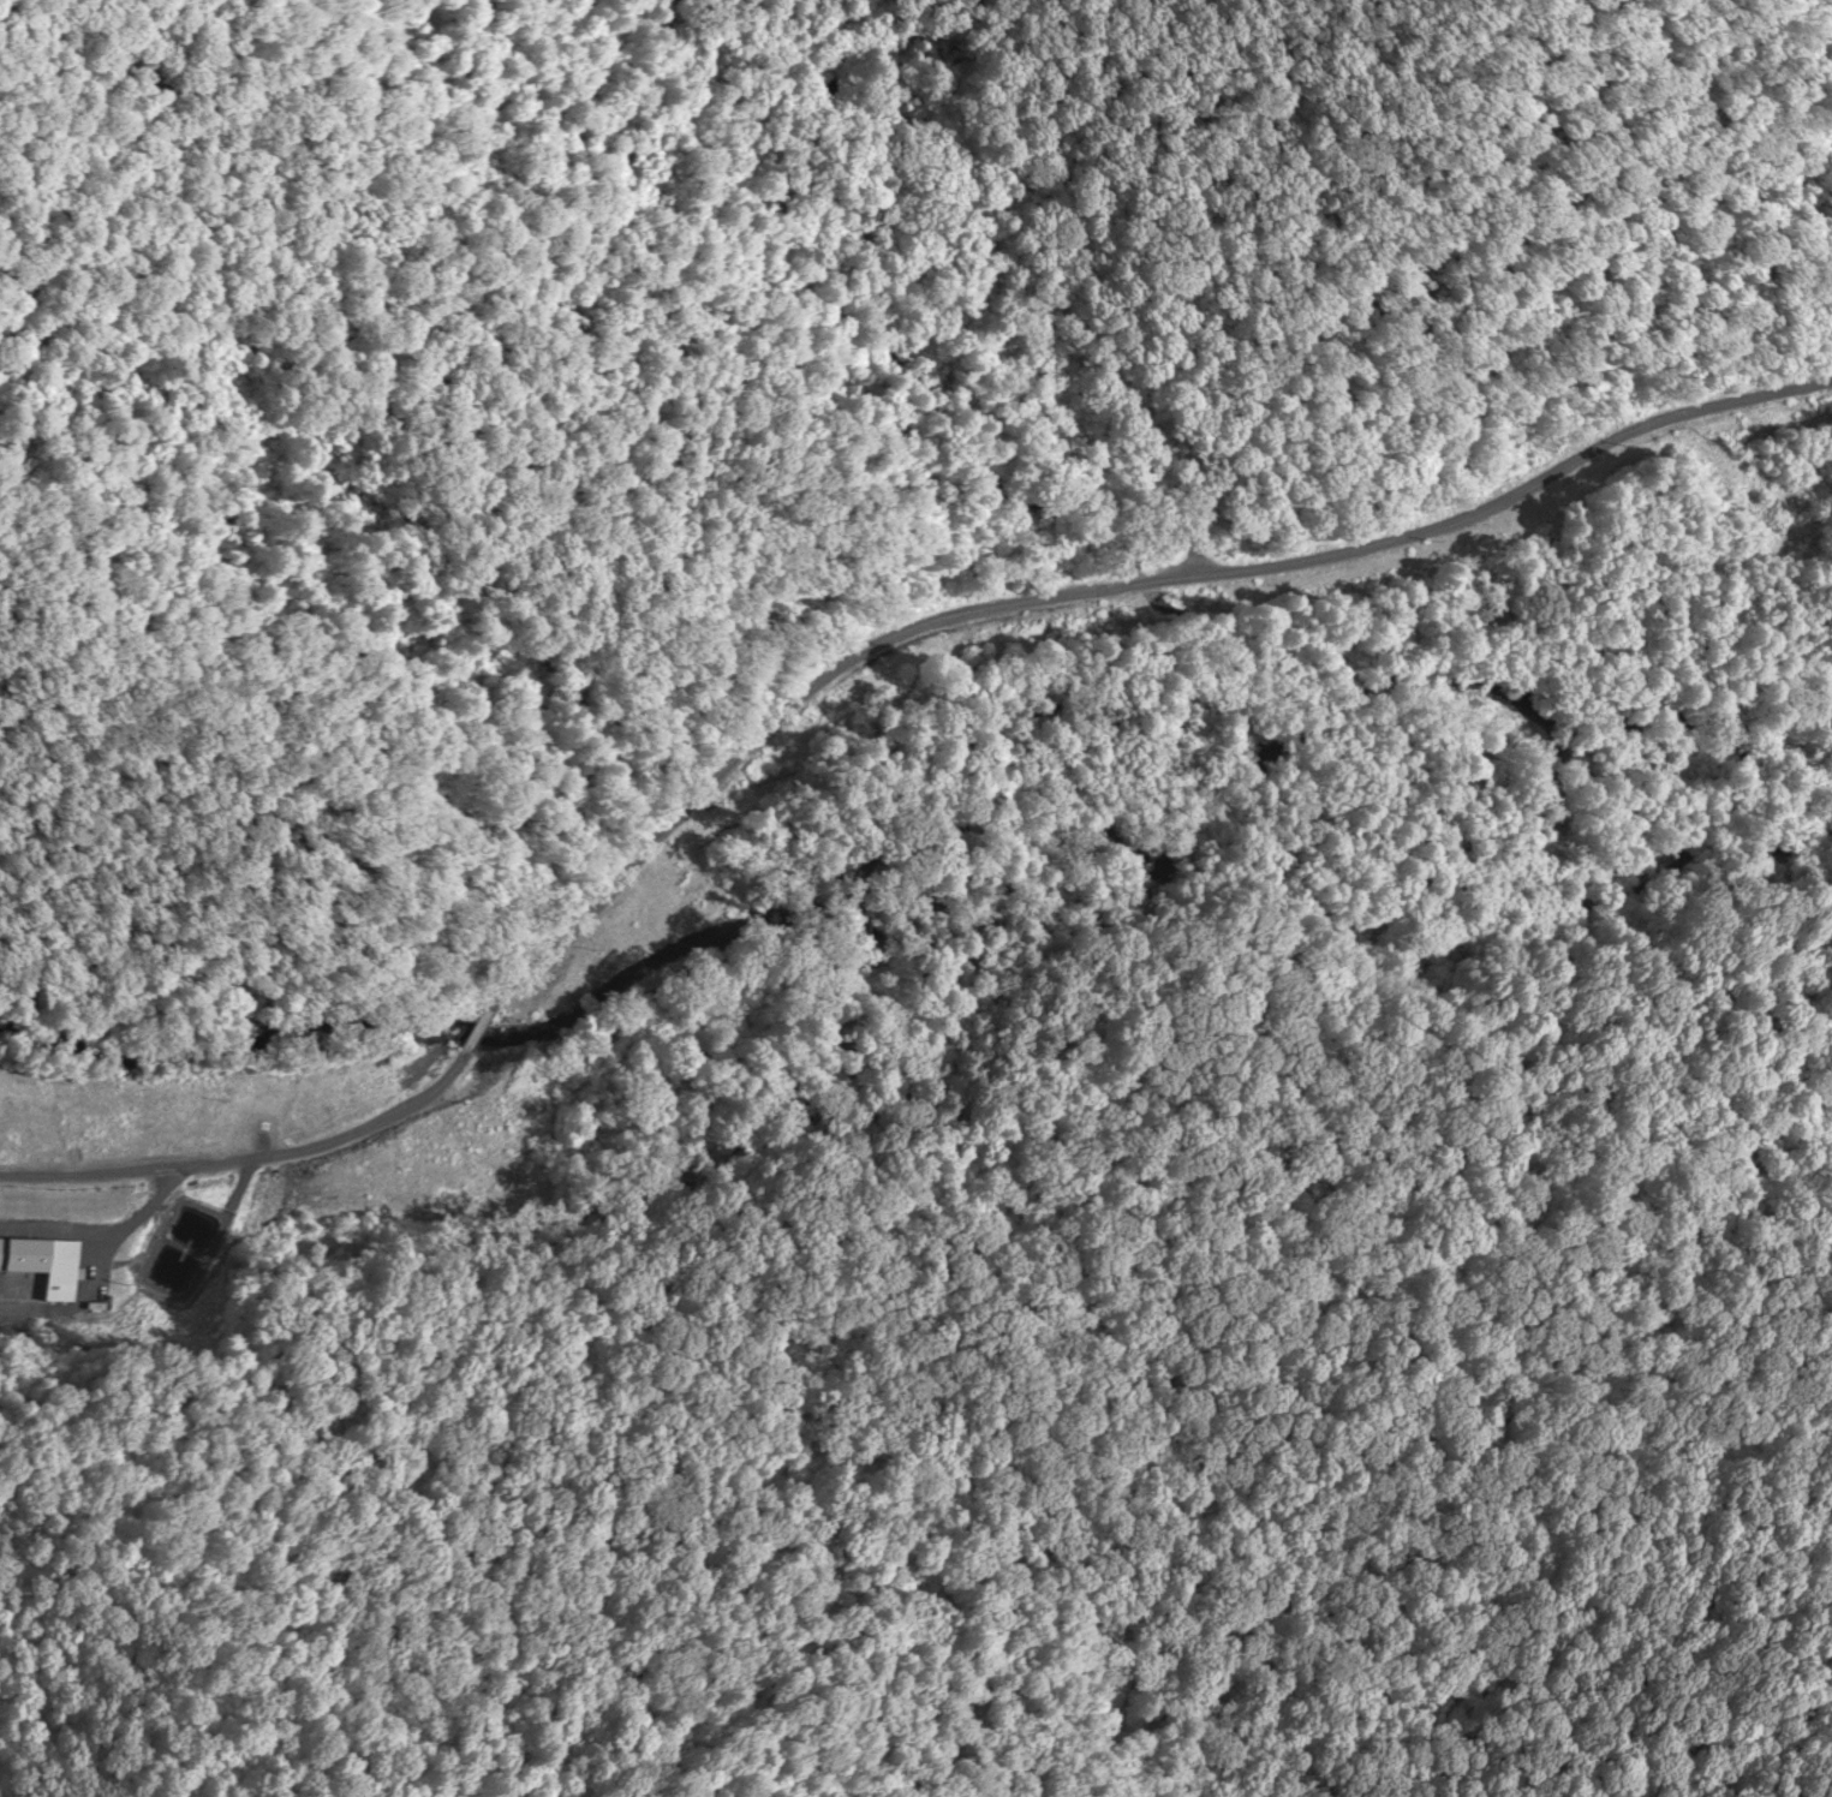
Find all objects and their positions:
road: (1102, 586)
road: (476, 1029)
road: (244, 1159)

